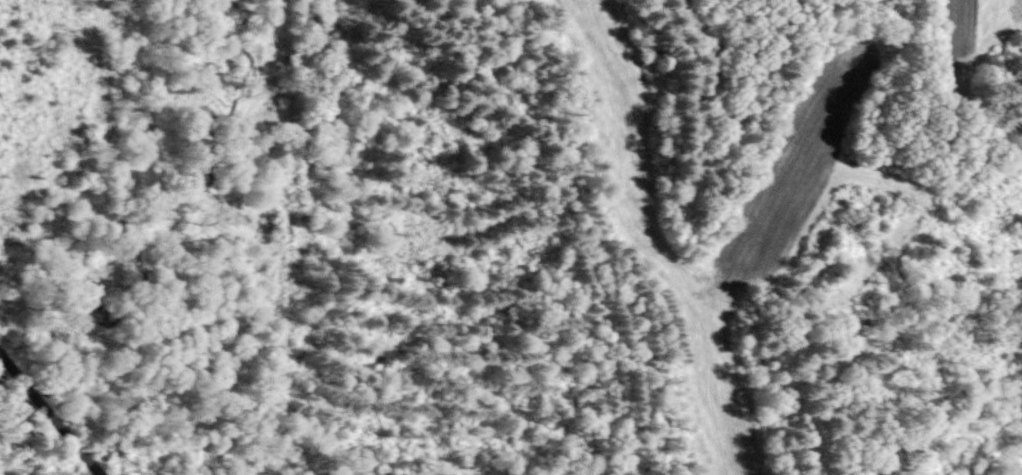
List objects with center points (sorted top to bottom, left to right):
road: (48, 416)

